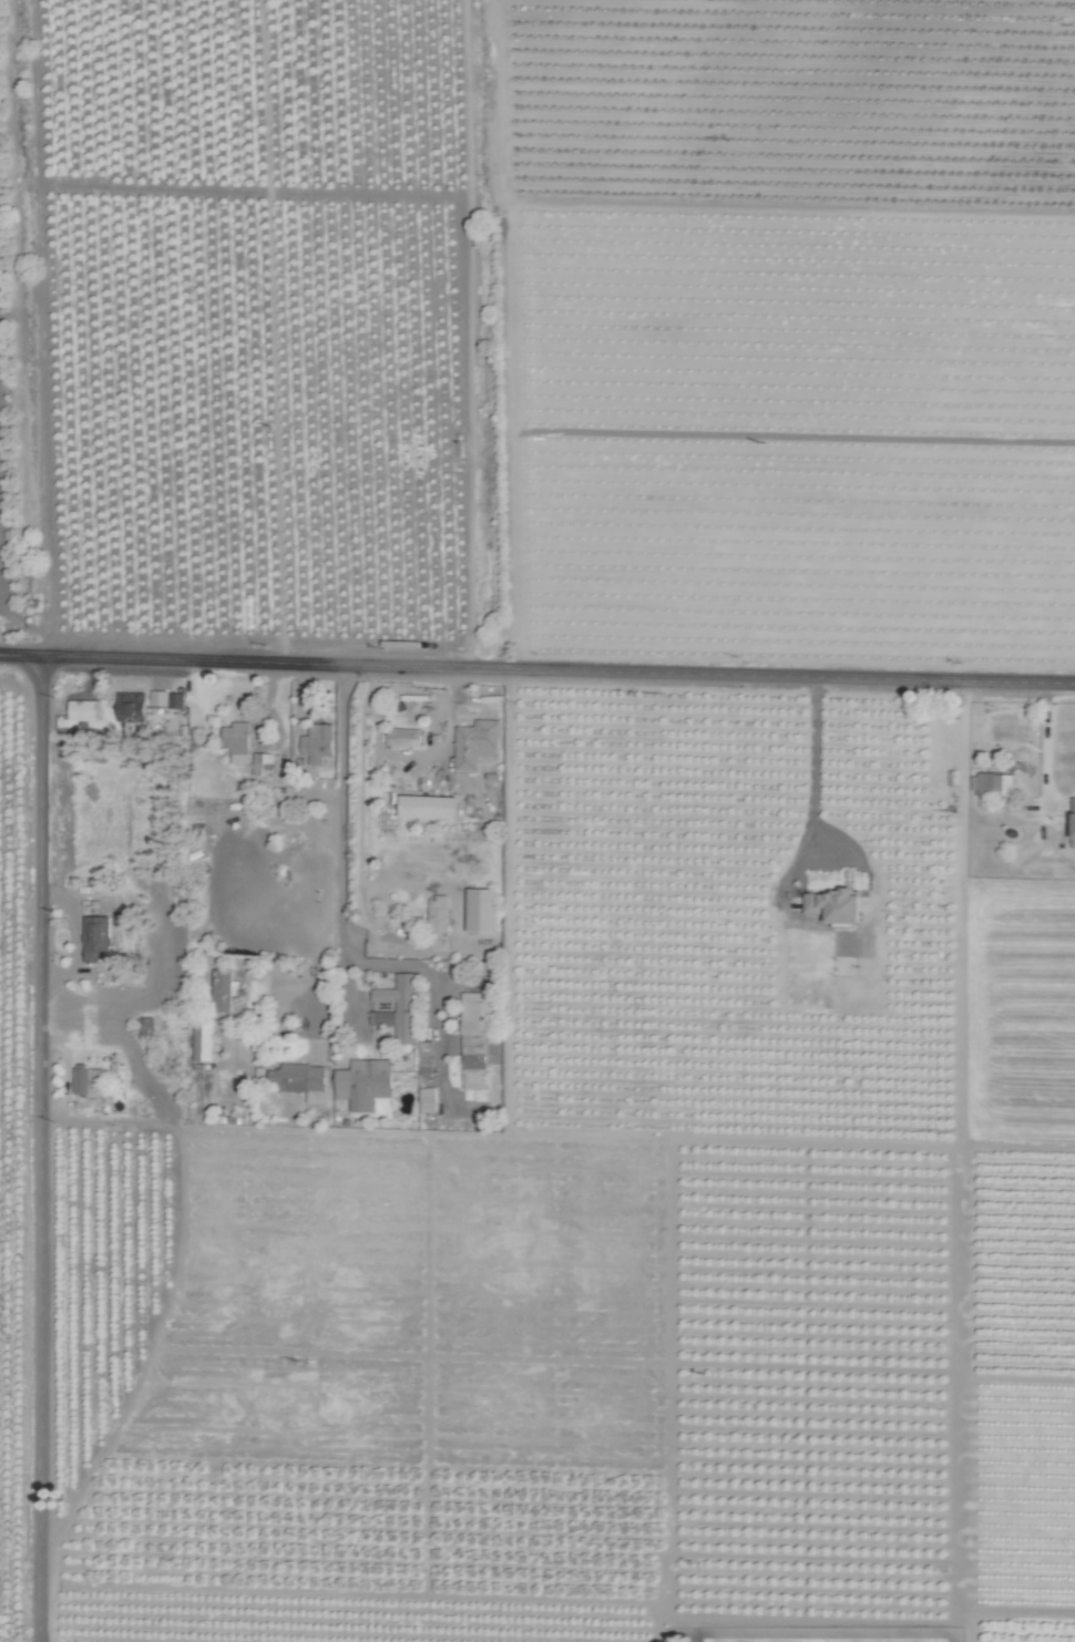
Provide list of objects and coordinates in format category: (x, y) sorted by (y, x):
road: (537, 669)
building: (167, 698)
building: (132, 707)
building: (84, 709)
building: (406, 736)
building: (237, 741)
building: (318, 742)
building: (477, 742)
road: (1045, 742)
building: (264, 763)
road: (813, 769)
building: (995, 783)
crop: (493, 803)
building: (428, 807)
building: (1074, 828)
building: (835, 904)
building: (482, 910)
building: (439, 913)
road: (346, 922)
building: (98, 937)
building: (224, 989)
road: (316, 993)
building: (401, 1000)
building: (144, 1025)
building: (203, 1039)
building: (479, 1039)
building: (426, 1058)
building: (89, 1080)
building: (301, 1080)
building: (365, 1082)
building: (428, 1099)
road: (42, 1149)

